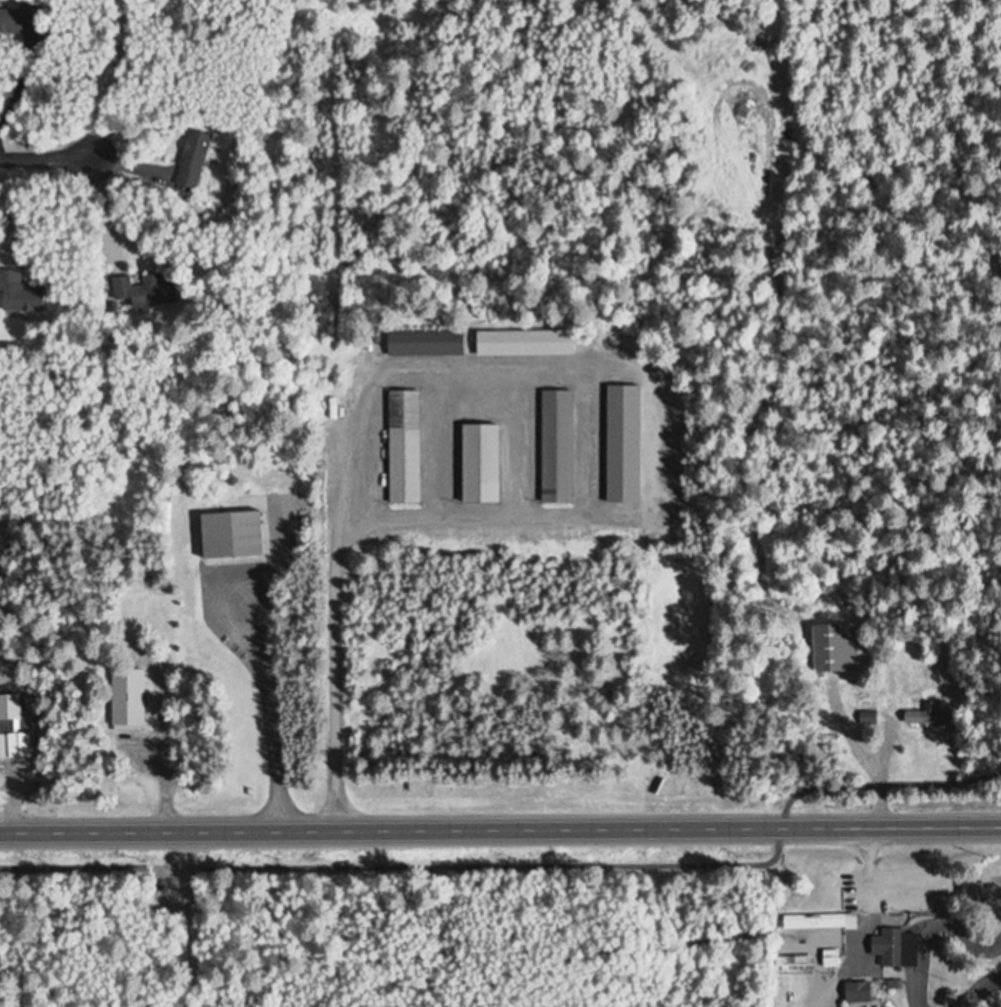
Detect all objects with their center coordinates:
building: (16, 18)
road: (47, 155)
building: (191, 159)
building: (144, 290)
building: (18, 293)
building: (424, 342)
building: (402, 446)
building: (554, 446)
building: (479, 463)
building: (230, 535)
building: (832, 647)
building: (126, 699)
building: (925, 716)
building: (12, 736)
road: (500, 823)
road: (524, 864)
building: (826, 924)
road: (26, 936)
building: (783, 948)
building: (900, 949)
building: (829, 959)
building: (799, 964)
building: (837, 968)
building: (862, 993)

